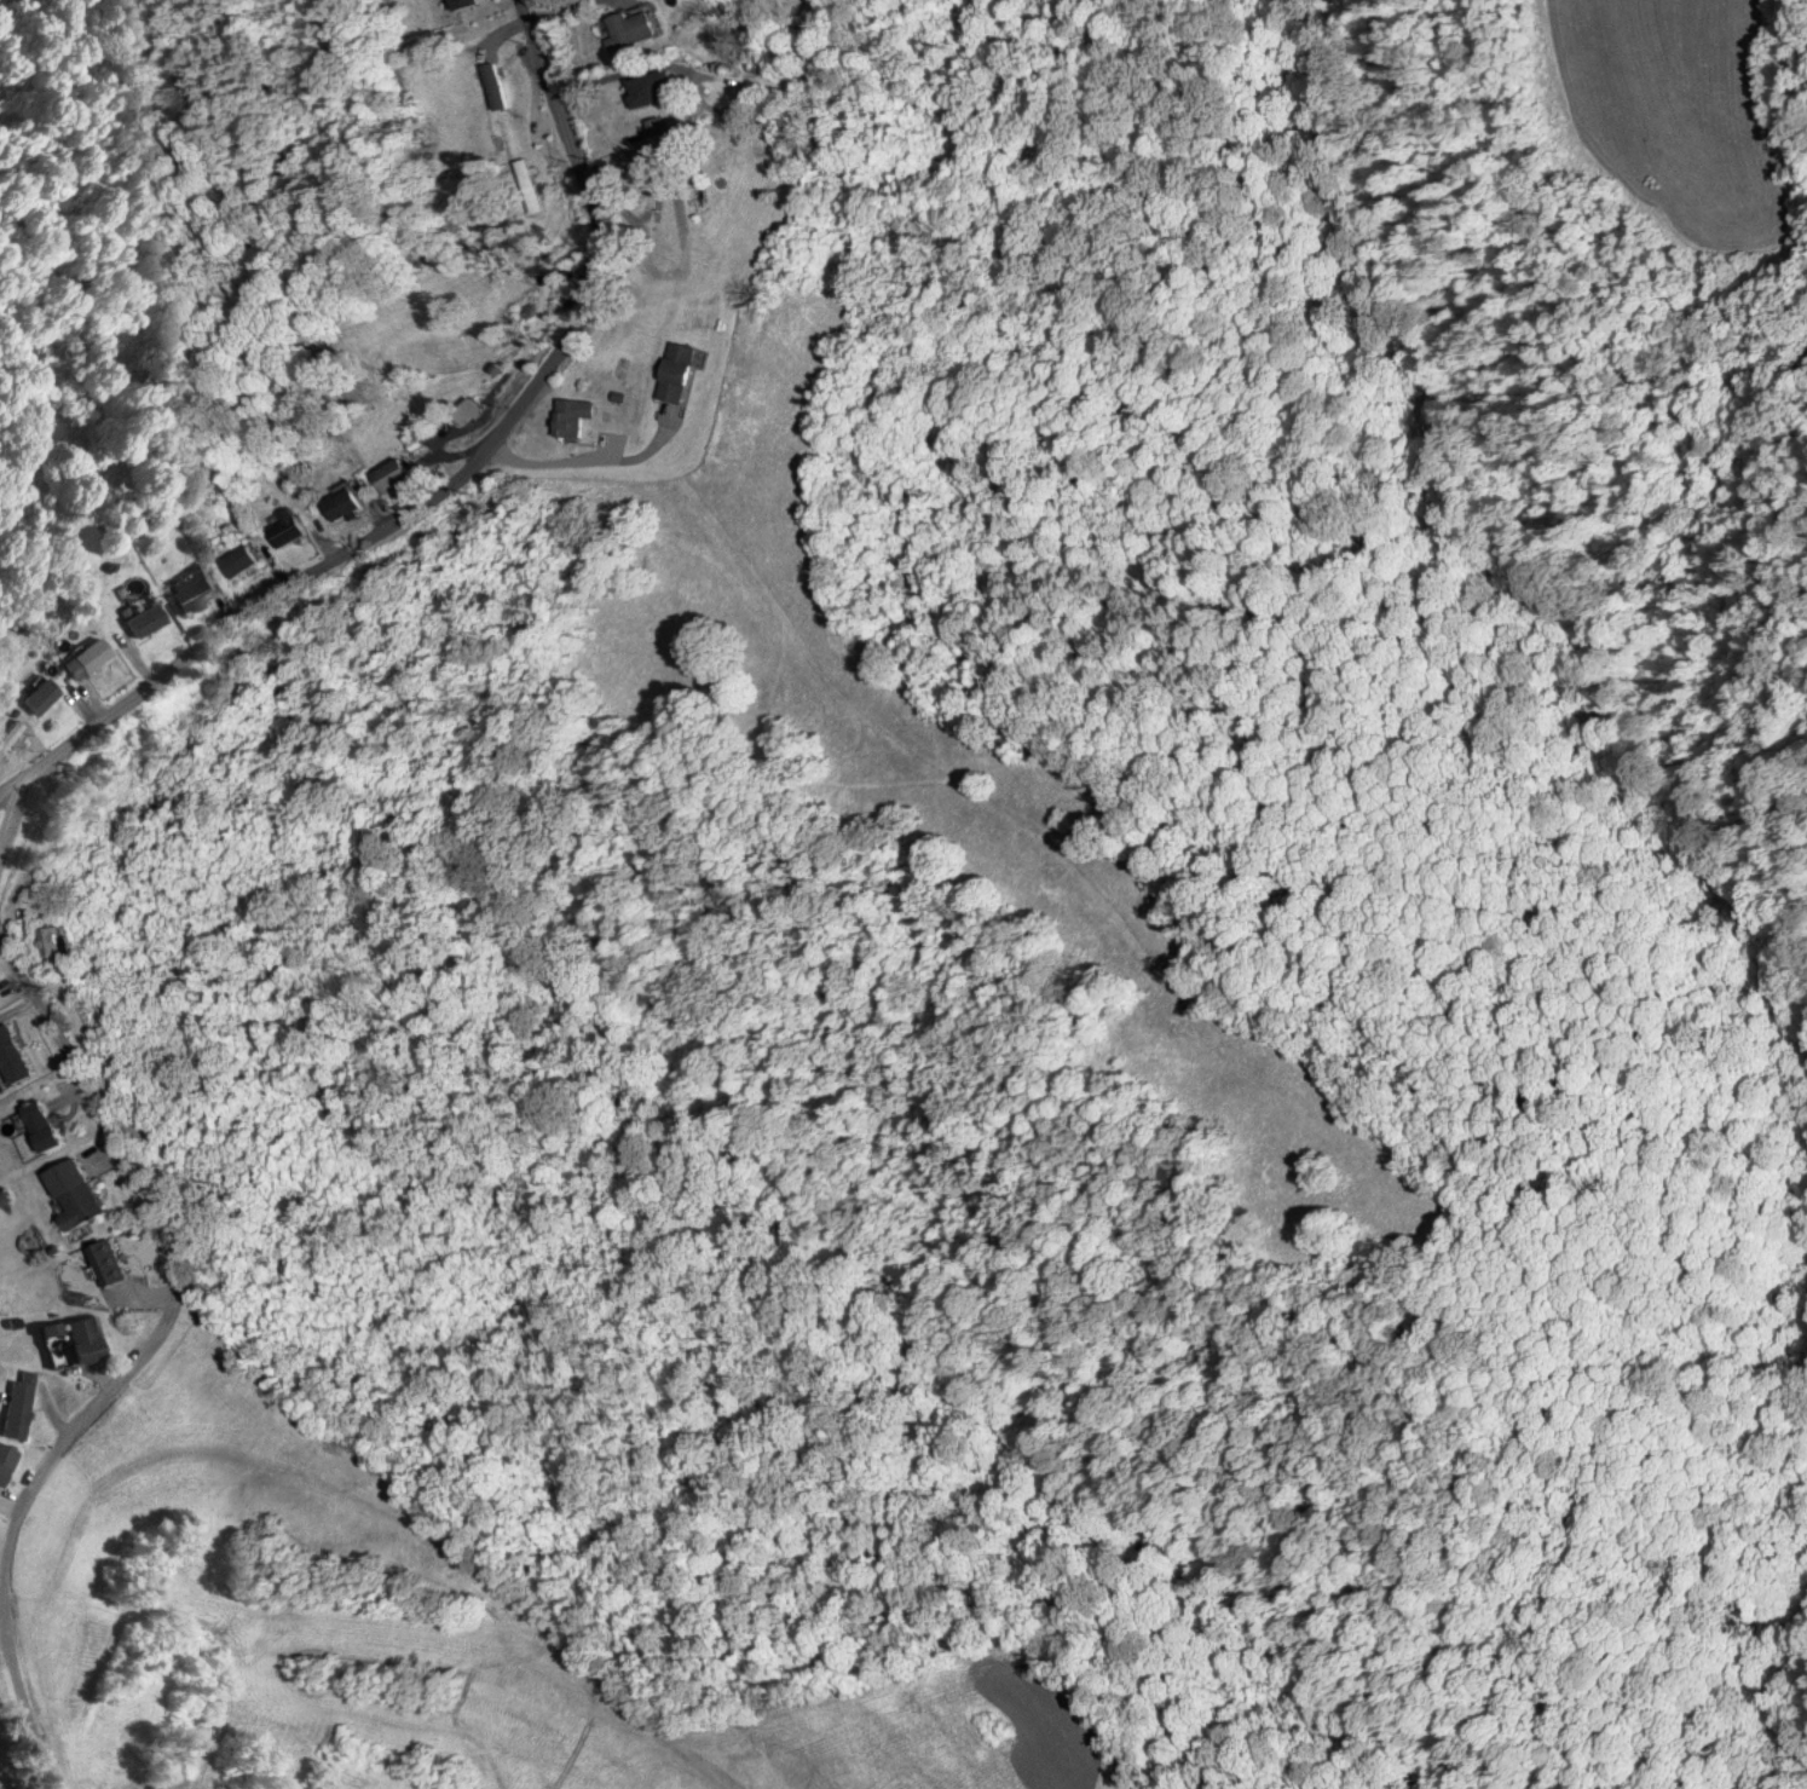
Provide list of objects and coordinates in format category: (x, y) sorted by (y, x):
building: (466, 4)
building: (631, 28)
building: (654, 88)
building: (529, 186)
building: (677, 373)
building: (572, 417)
building: (394, 475)
road: (452, 481)
building: (345, 503)
building: (139, 514)
building: (288, 527)
building: (239, 561)
building: (189, 588)
building: (142, 619)
building: (86, 657)
building: (37, 694)
building: (10, 732)
road: (11, 809)
building: (54, 939)
building: (12, 1055)
building: (42, 1124)
building: (77, 1189)
building: (109, 1260)
building: (82, 1335)
road: (140, 1349)
building: (19, 1403)
building: (4, 1456)

